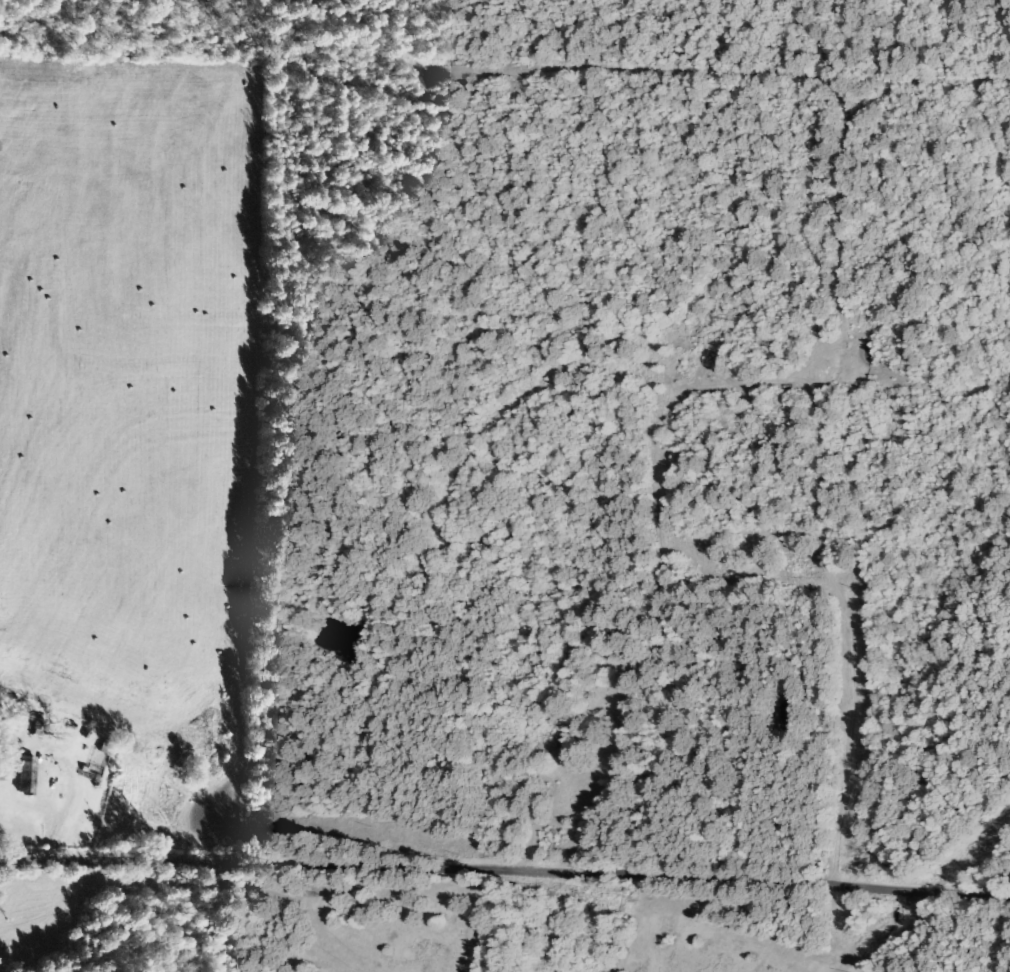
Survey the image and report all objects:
road: (505, 864)

